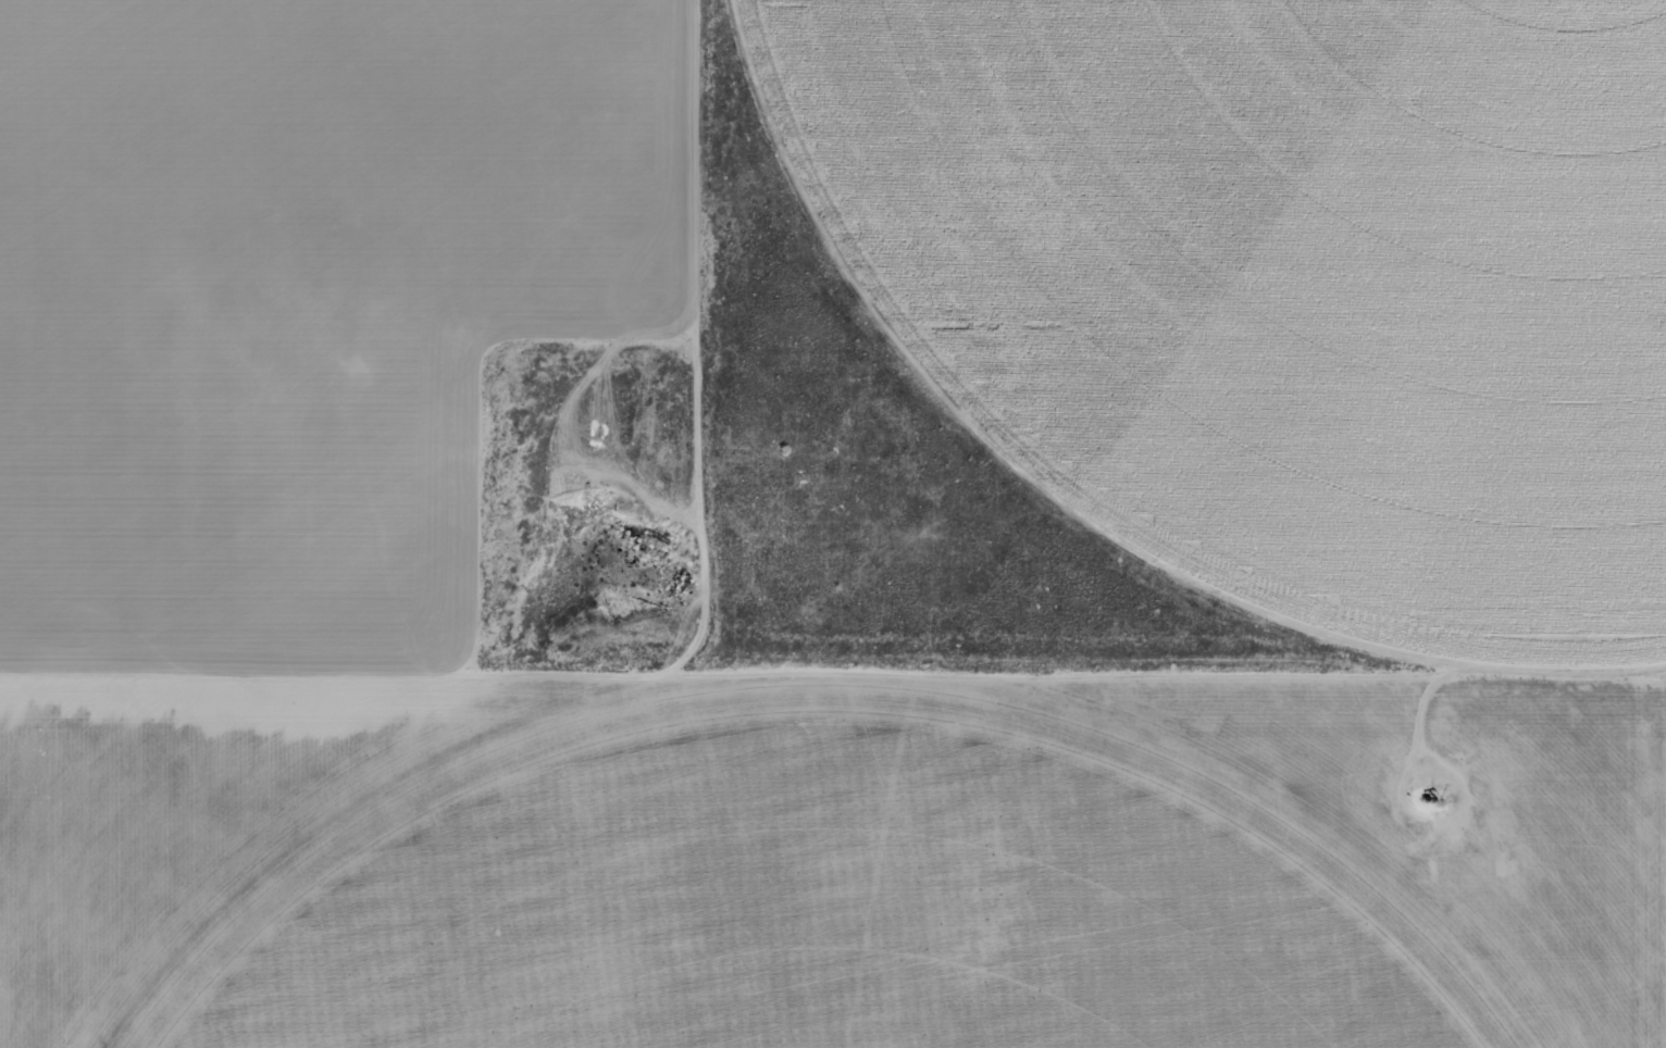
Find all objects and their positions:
road: (833, 619)

